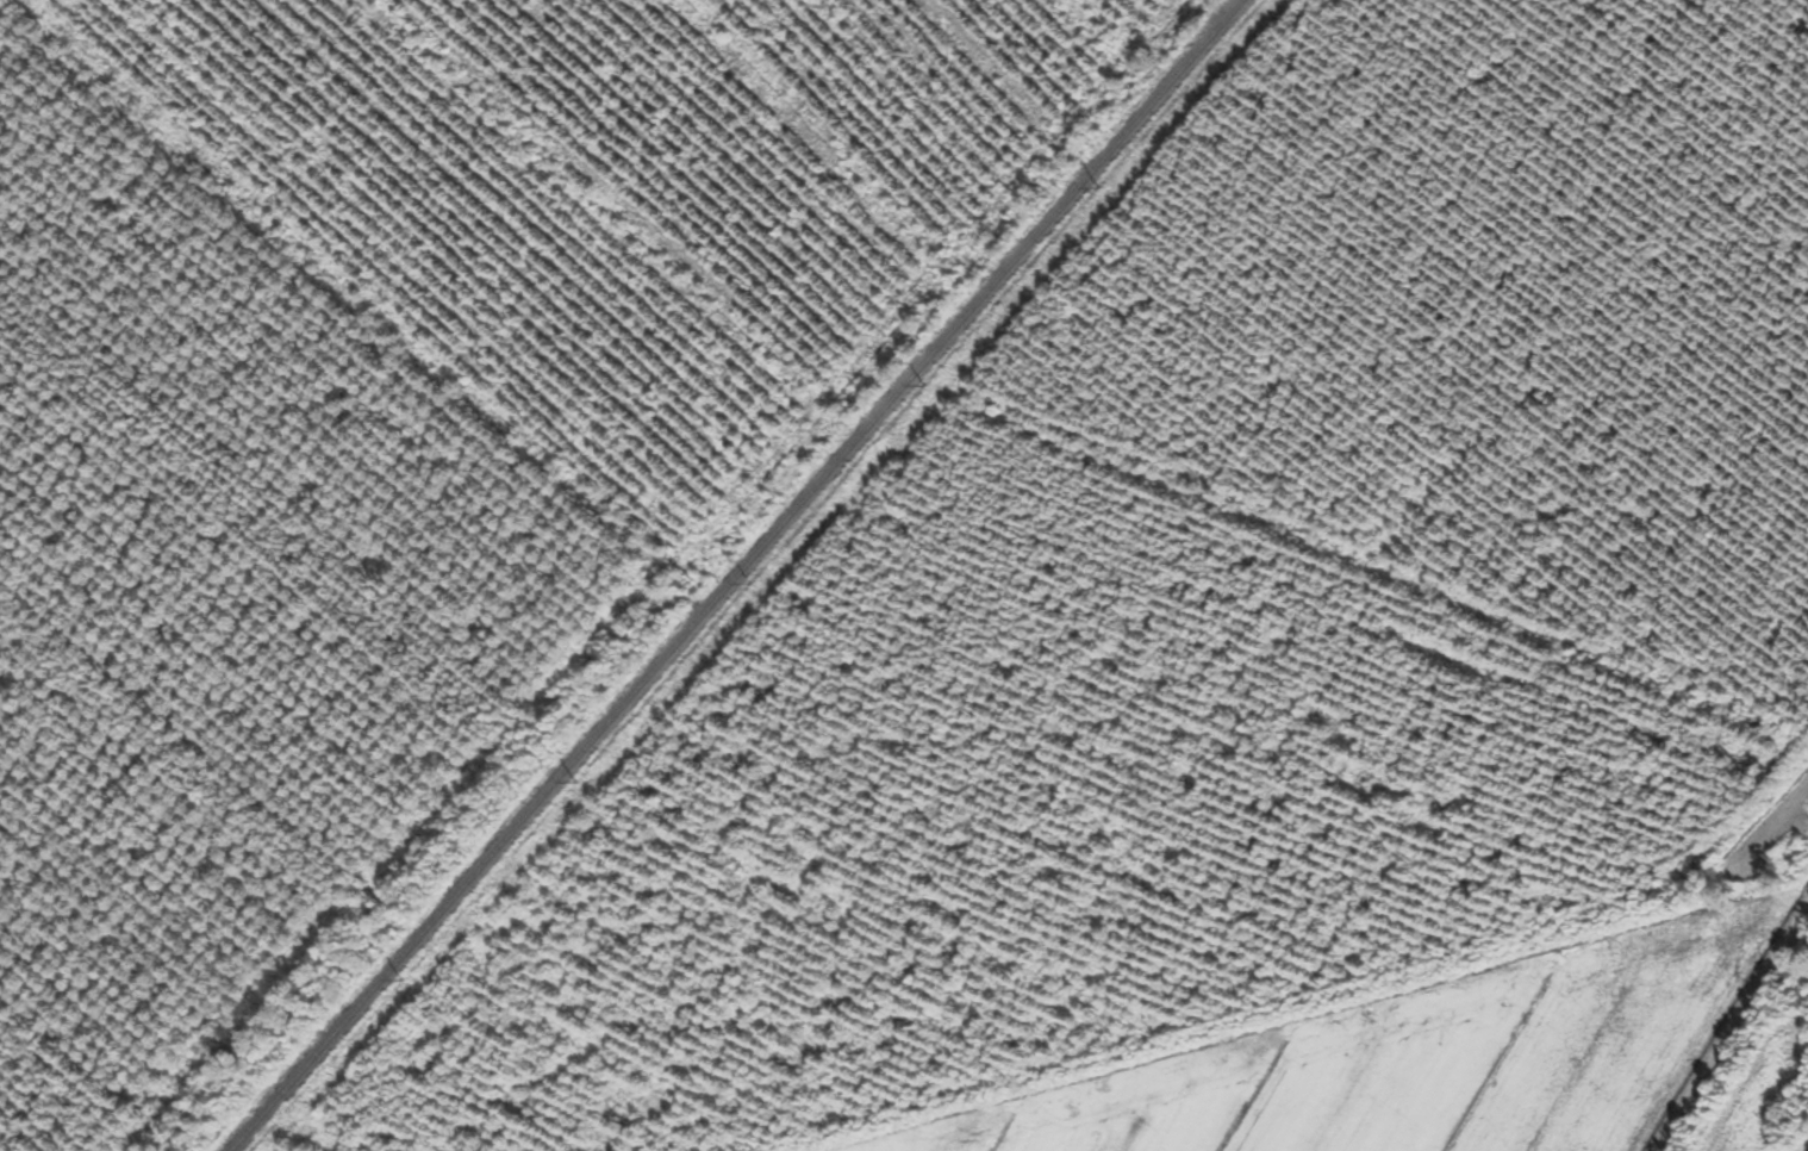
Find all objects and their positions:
power tower: (1101, 183)
power tower: (930, 380)
railway: (741, 575)
power tower: (755, 579)
power tower: (580, 779)
power tower: (406, 978)
road: (1444, 1039)

